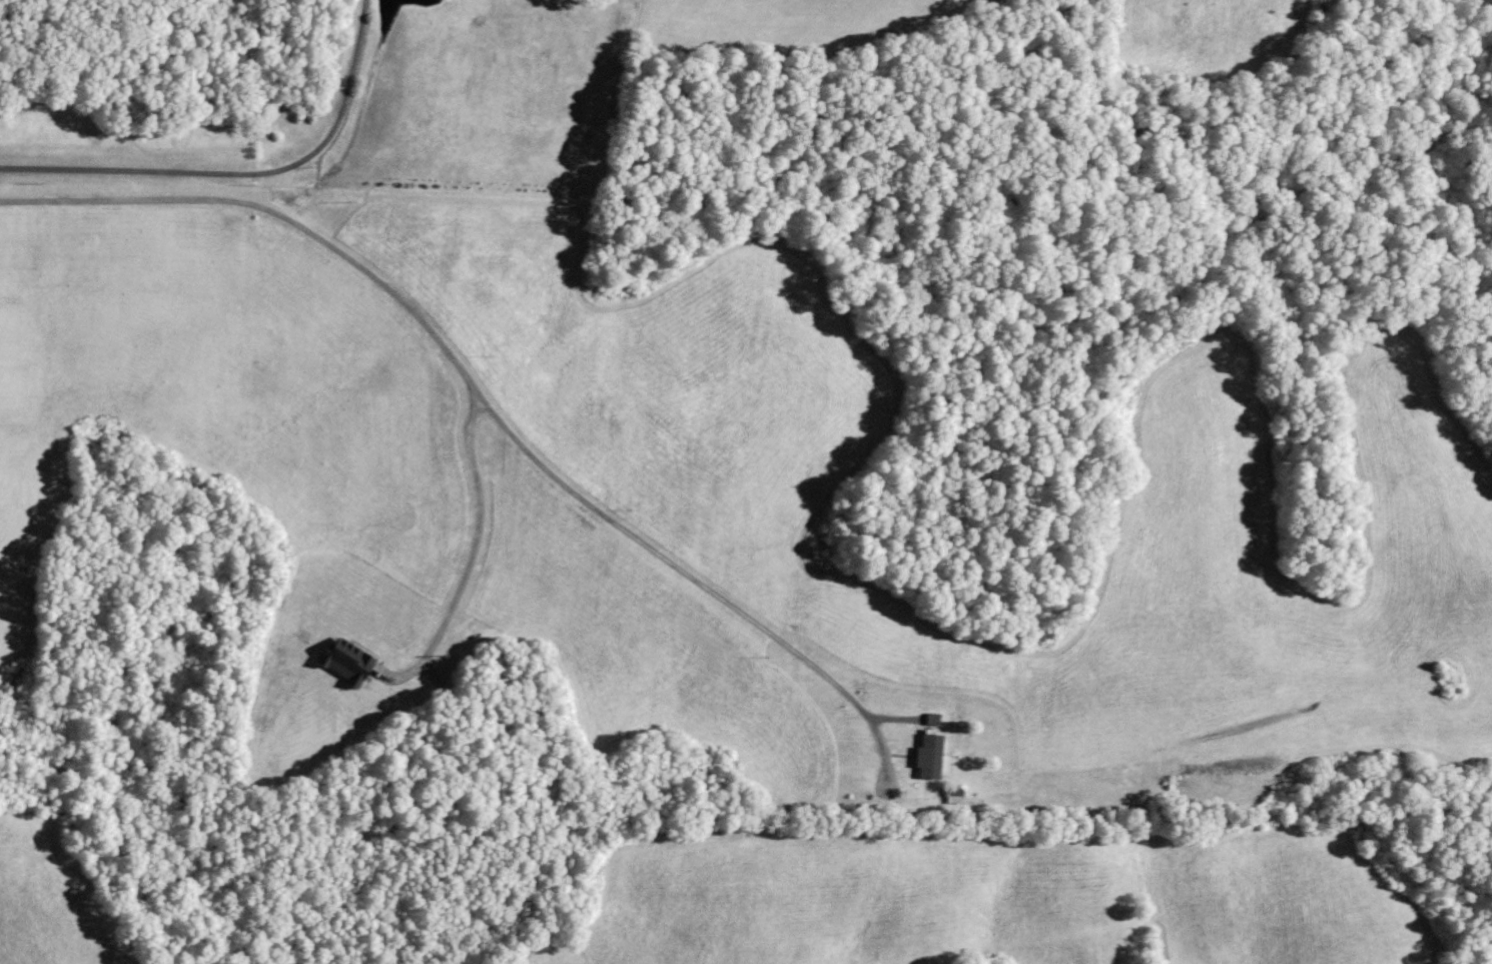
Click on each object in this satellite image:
building: (345, 662)
building: (929, 758)
building: (954, 797)

